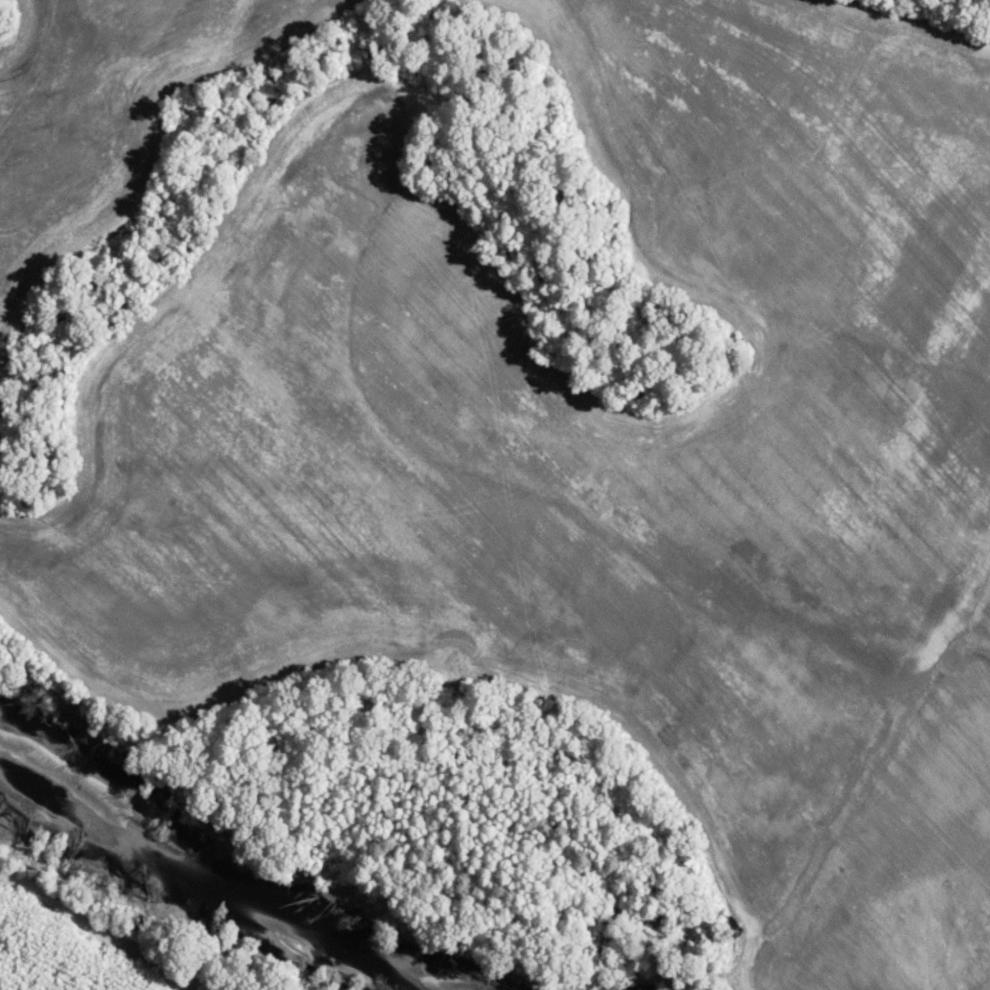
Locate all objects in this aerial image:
river: (210, 874)

